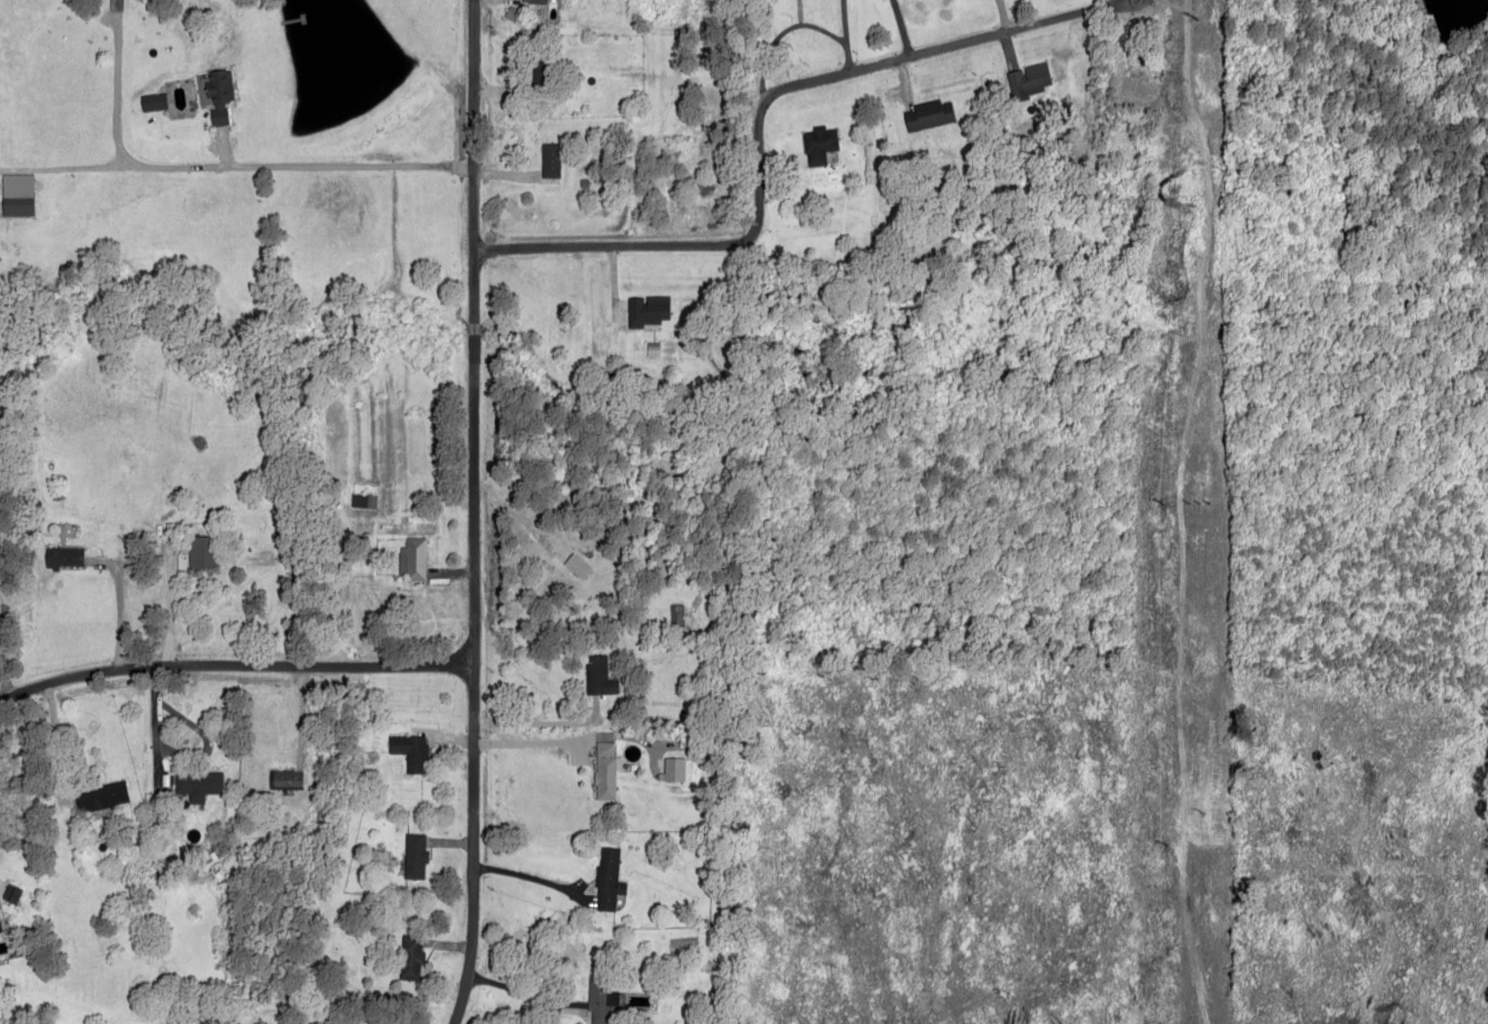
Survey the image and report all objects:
building: (532, 1)
building: (1027, 81)
building: (218, 94)
building: (152, 102)
road: (756, 115)
building: (927, 115)
building: (818, 144)
building: (549, 160)
building: (16, 204)
building: (646, 311)
building: (0, 418)
road: (470, 513)
building: (200, 551)
building: (63, 557)
building: (412, 559)
building: (576, 565)
road: (234, 665)
building: (597, 675)
building: (409, 751)
building: (675, 769)
building: (604, 770)
building: (286, 779)
building: (197, 784)
building: (100, 796)
building: (414, 855)
building: (607, 879)
building: (259, 1022)

